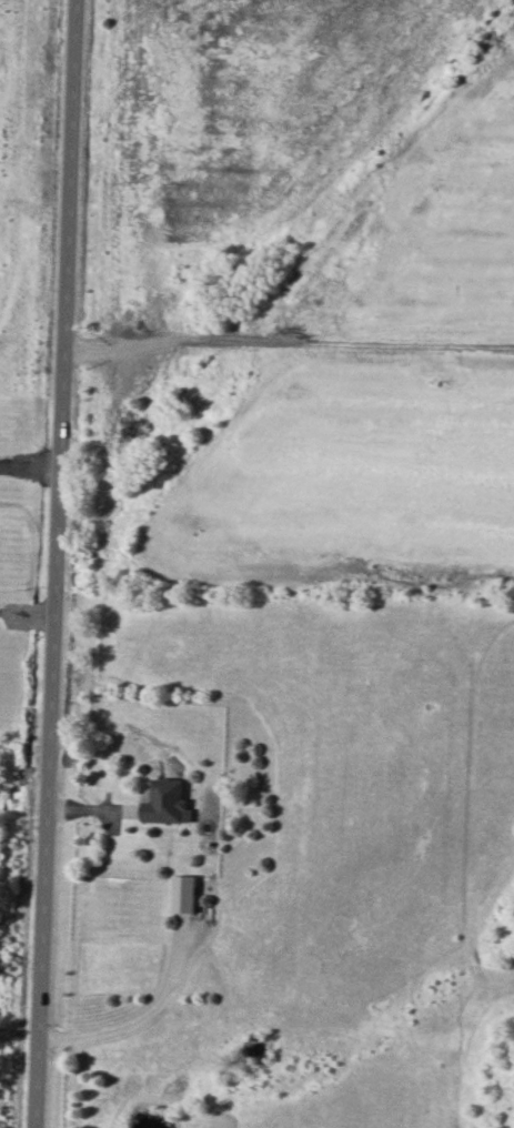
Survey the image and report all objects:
road: (290, 330)
road: (30, 463)
road: (58, 563)
road: (28, 601)
building: (170, 802)
building: (188, 894)
road: (135, 1016)

